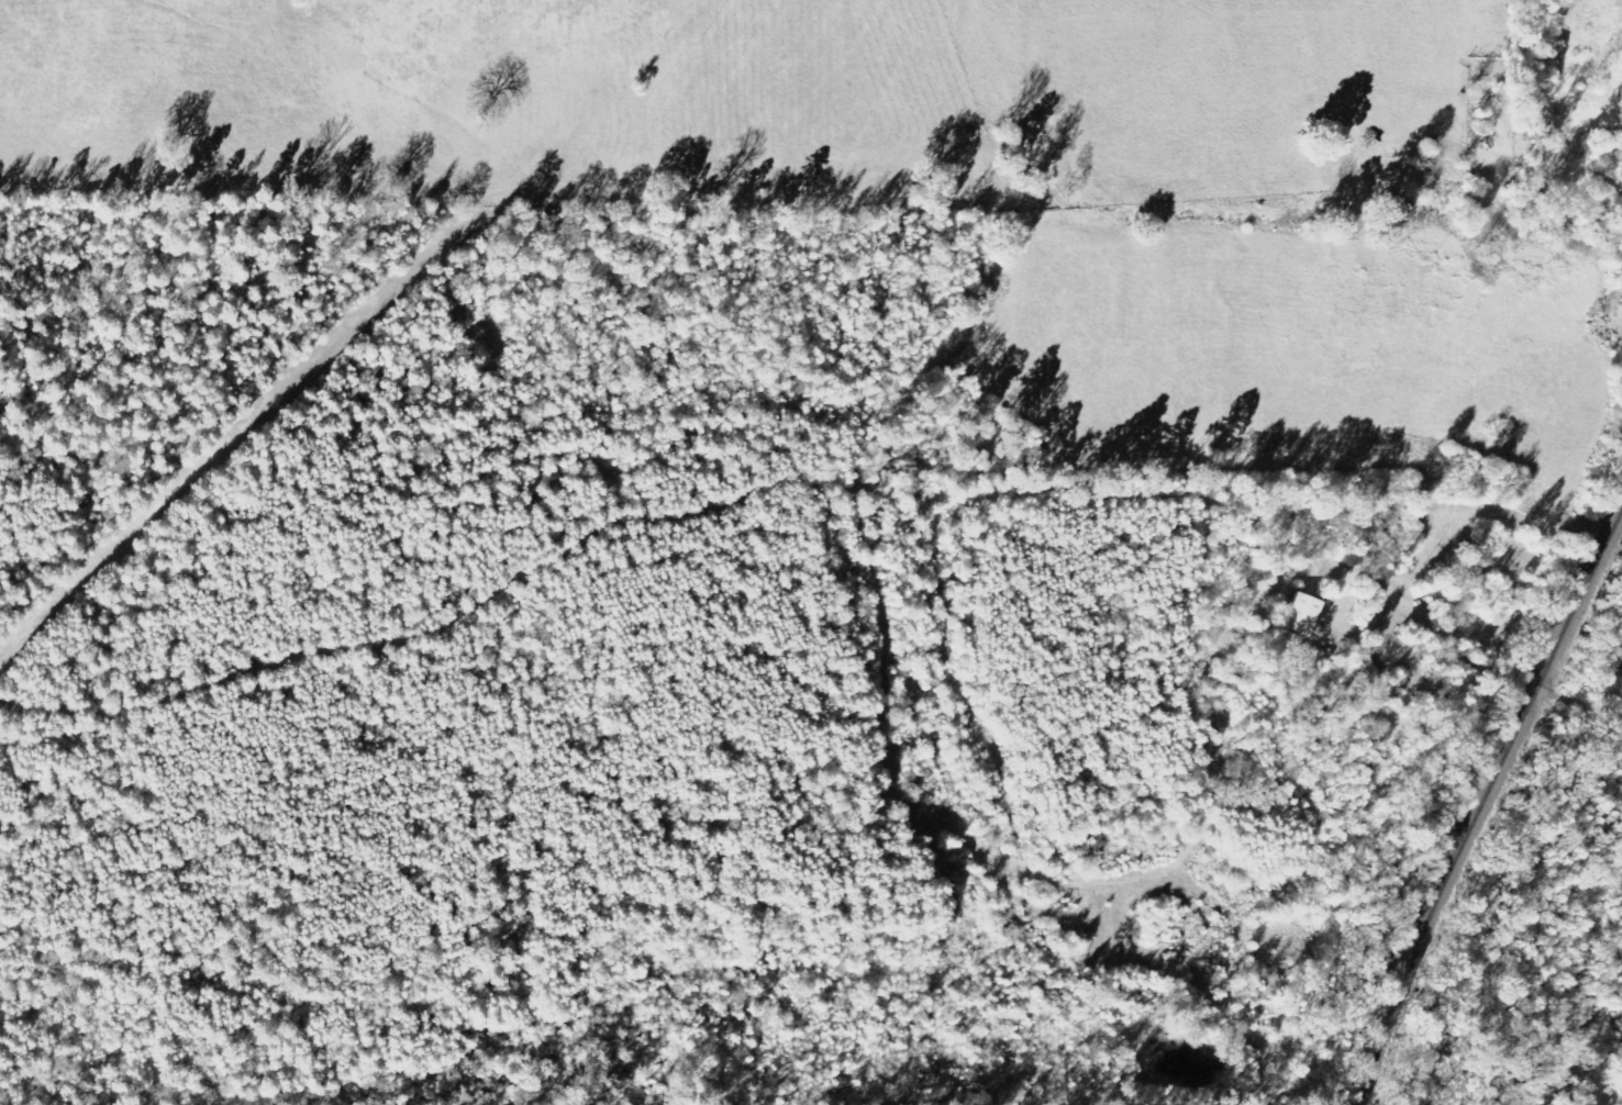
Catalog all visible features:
road: (1589, 60)
building: (1309, 615)
railway: (1486, 805)

